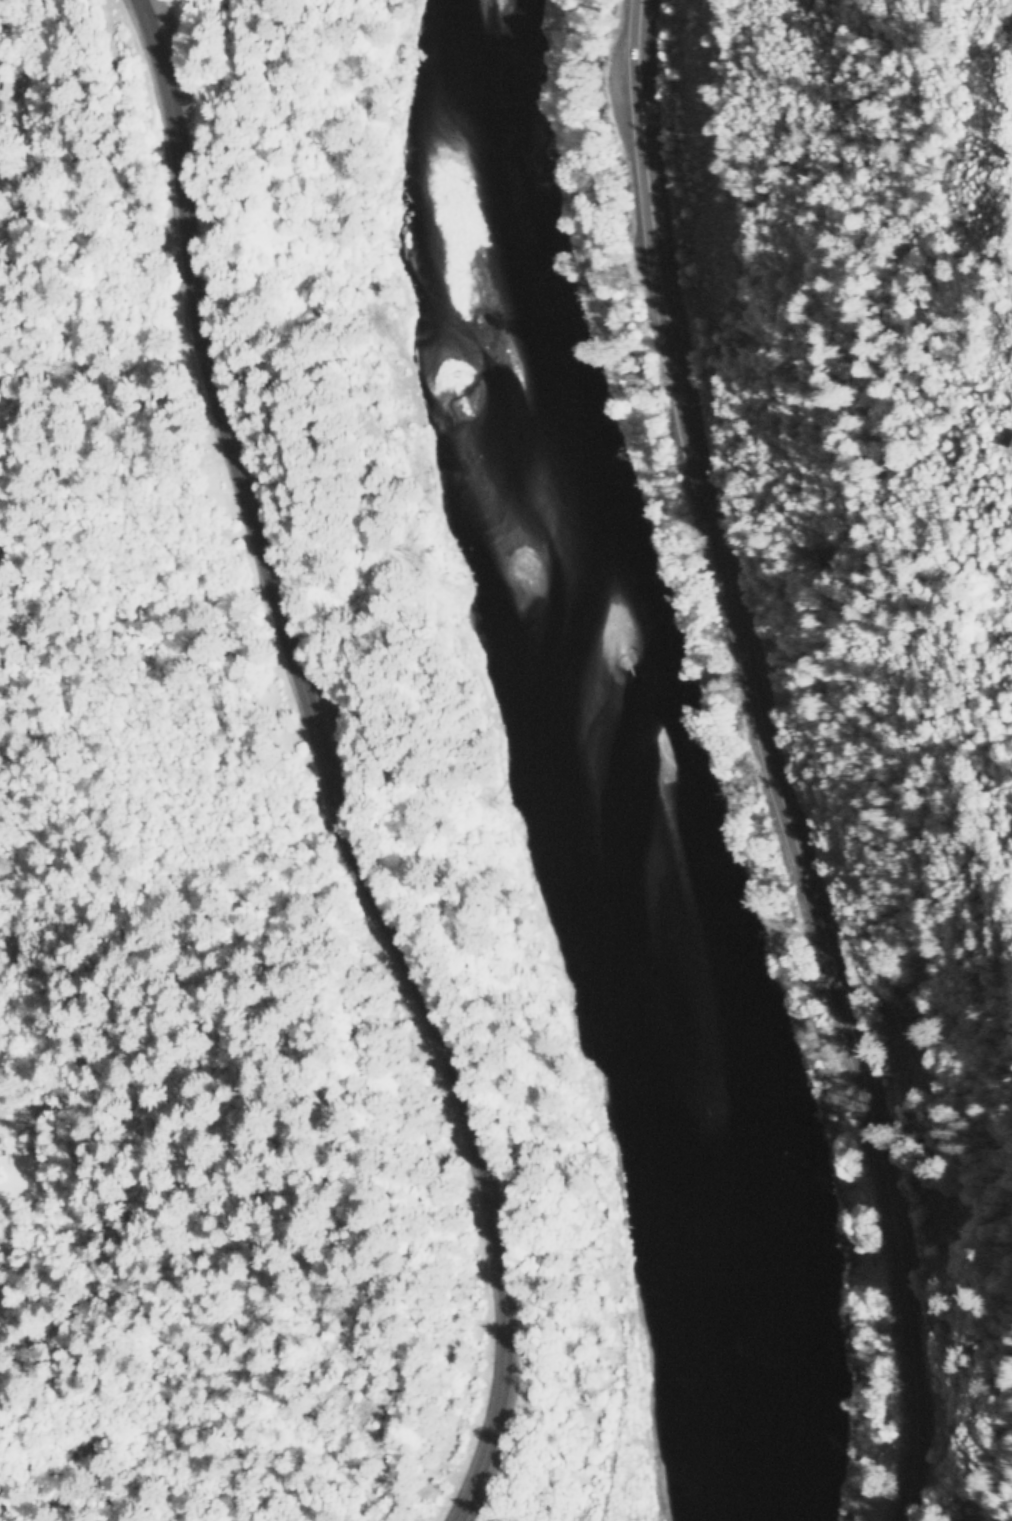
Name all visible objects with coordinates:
road: (158, 151)
river: (629, 762)
road: (769, 762)
road: (391, 908)

